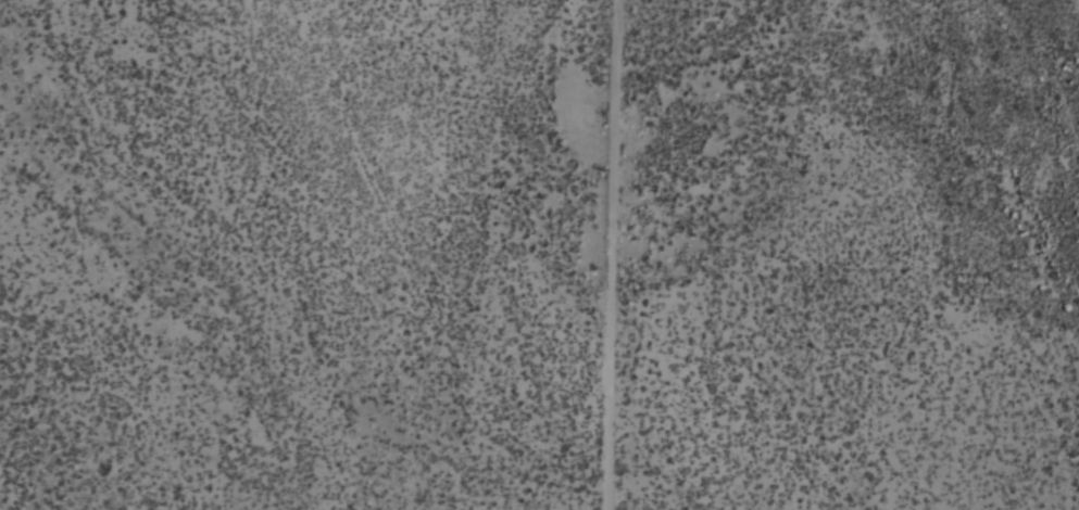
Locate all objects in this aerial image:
road: (620, 255)

